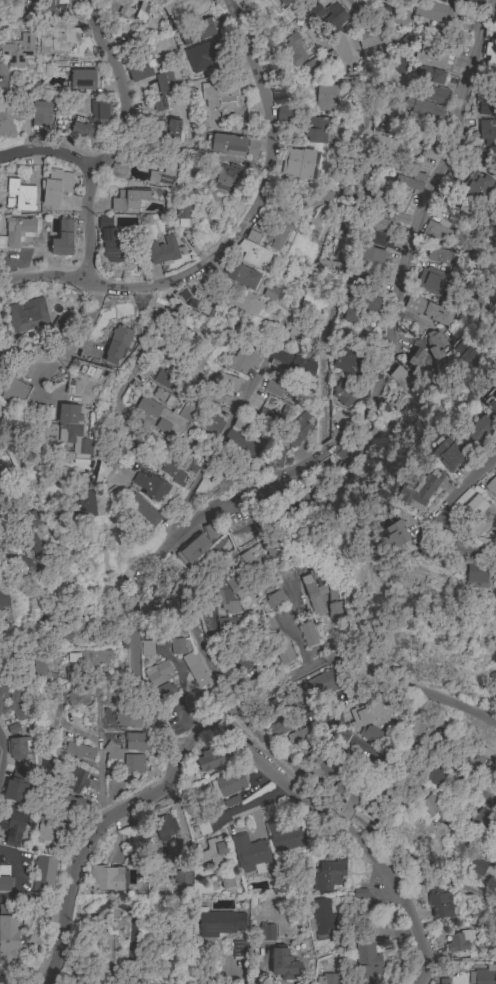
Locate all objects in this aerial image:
building: (155, 0)
building: (313, 0)
building: (284, 2)
building: (465, 3)
building: (18, 4)
building: (129, 9)
building: (179, 9)
building: (432, 12)
building: (327, 17)
building: (400, 17)
road: (373, 21)
building: (59, 28)
building: (196, 31)
building: (368, 38)
building: (409, 40)
building: (297, 49)
building: (18, 51)
building: (206, 51)
building: (489, 54)
building: (429, 57)
building: (268, 63)
building: (319, 64)
building: (139, 68)
building: (2, 69)
building: (440, 78)
building: (81, 79)
building: (165, 83)
building: (432, 94)
building: (329, 95)
building: (220, 96)
building: (277, 96)
building: (159, 103)
building: (485, 105)
building: (423, 107)
building: (282, 114)
building: (41, 115)
building: (394, 115)
building: (90, 119)
building: (7, 124)
building: (487, 129)
building: (312, 131)
building: (168, 132)
road: (113, 139)
building: (383, 141)
building: (226, 144)
building: (484, 158)
road: (46, 161)
building: (298, 163)
building: (169, 168)
building: (117, 171)
building: (410, 171)
road: (354, 174)
building: (225, 177)
building: (408, 183)
building: (476, 186)
building: (56, 187)
building: (21, 195)
building: (323, 195)
building: (129, 200)
road: (253, 200)
building: (183, 214)
building: (399, 220)
building: (492, 221)
building: (377, 223)
road: (415, 225)
building: (438, 230)
building: (19, 231)
building: (63, 239)
building: (281, 239)
building: (378, 239)
building: (114, 243)
building: (164, 250)
building: (251, 251)
building: (369, 254)
building: (440, 256)
building: (478, 257)
building: (286, 268)
building: (322, 268)
road: (41, 275)
building: (242, 276)
building: (431, 281)
building: (360, 285)
road: (461, 289)
building: (270, 293)
building: (198, 297)
building: (245, 302)
building: (312, 302)
building: (372, 303)
building: (486, 303)
building: (430, 309)
building: (347, 314)
building: (26, 315)
building: (193, 324)
building: (60, 326)
road: (89, 327)
building: (298, 331)
building: (118, 344)
building: (435, 344)
road: (142, 347)
building: (461, 349)
building: (242, 360)
building: (345, 360)
building: (418, 362)
building: (290, 364)
building: (166, 381)
building: (227, 381)
building: (273, 387)
building: (405, 387)
building: (15, 391)
building: (342, 394)
building: (489, 400)
building: (174, 404)
building: (149, 408)
road: (230, 417)
building: (266, 417)
building: (240, 423)
building: (162, 426)
building: (212, 427)
building: (74, 429)
building: (478, 430)
building: (123, 431)
building: (295, 431)
building: (373, 432)
building: (47, 433)
building: (242, 443)
road: (326, 452)
building: (447, 453)
building: (348, 455)
building: (270, 458)
building: (194, 462)
building: (1, 470)
building: (101, 473)
building: (182, 481)
building: (150, 486)
building: (491, 486)
building: (205, 488)
building: (415, 490)
building: (2, 493)
building: (83, 505)
building: (0, 509)
building: (143, 509)
road: (440, 514)
building: (474, 515)
road: (220, 519)
building: (393, 534)
road: (231, 539)
building: (28, 541)
building: (198, 543)
building: (271, 546)
building: (425, 550)
road: (235, 551)
road: (163, 560)
building: (247, 561)
building: (20, 565)
building: (475, 575)
building: (236, 586)
building: (314, 590)
building: (3, 595)
building: (225, 599)
building: (273, 599)
building: (335, 610)
building: (167, 616)
road: (208, 624)
building: (227, 624)
road: (287, 625)
building: (69, 629)
building: (307, 634)
building: (276, 640)
building: (177, 646)
building: (147, 648)
building: (90, 657)
building: (244, 661)
building: (40, 663)
road: (366, 669)
building: (195, 670)
building: (157, 673)
building: (493, 681)
building: (318, 687)
building: (162, 692)
building: (2, 694)
building: (78, 696)
building: (16, 705)
road: (233, 708)
building: (364, 714)
building: (262, 715)
building: (127, 719)
road: (205, 725)
building: (278, 728)
building: (422, 728)
building: (12, 730)
building: (371, 734)
building: (301, 735)
building: (135, 741)
building: (17, 745)
road: (421, 748)
building: (75, 751)
building: (112, 753)
building: (315, 755)
road: (100, 756)
road: (0, 757)
building: (210, 759)
building: (346, 759)
building: (481, 763)
building: (133, 764)
building: (45, 767)
building: (321, 769)
building: (437, 773)
building: (76, 778)
building: (228, 783)
building: (341, 786)
building: (13, 790)
building: (72, 803)
building: (230, 803)
building: (432, 805)
road: (345, 809)
building: (344, 812)
building: (480, 817)
road: (338, 820)
building: (12, 825)
building: (165, 826)
building: (201, 828)
building: (50, 831)
road: (345, 831)
building: (284, 837)
road: (86, 844)
building: (213, 850)
building: (249, 854)
building: (477, 865)
building: (43, 872)
building: (328, 875)
building: (183, 876)
building: (106, 878)
building: (4, 879)
building: (224, 879)
road: (17, 884)
building: (440, 903)
building: (320, 916)
building: (219, 923)
building: (267, 931)
building: (8, 935)
building: (342, 941)
building: (458, 944)
building: (238, 948)
building: (490, 952)
building: (366, 961)
building: (283, 963)
road: (230, 973)
building: (485, 975)
building: (329, 979)

